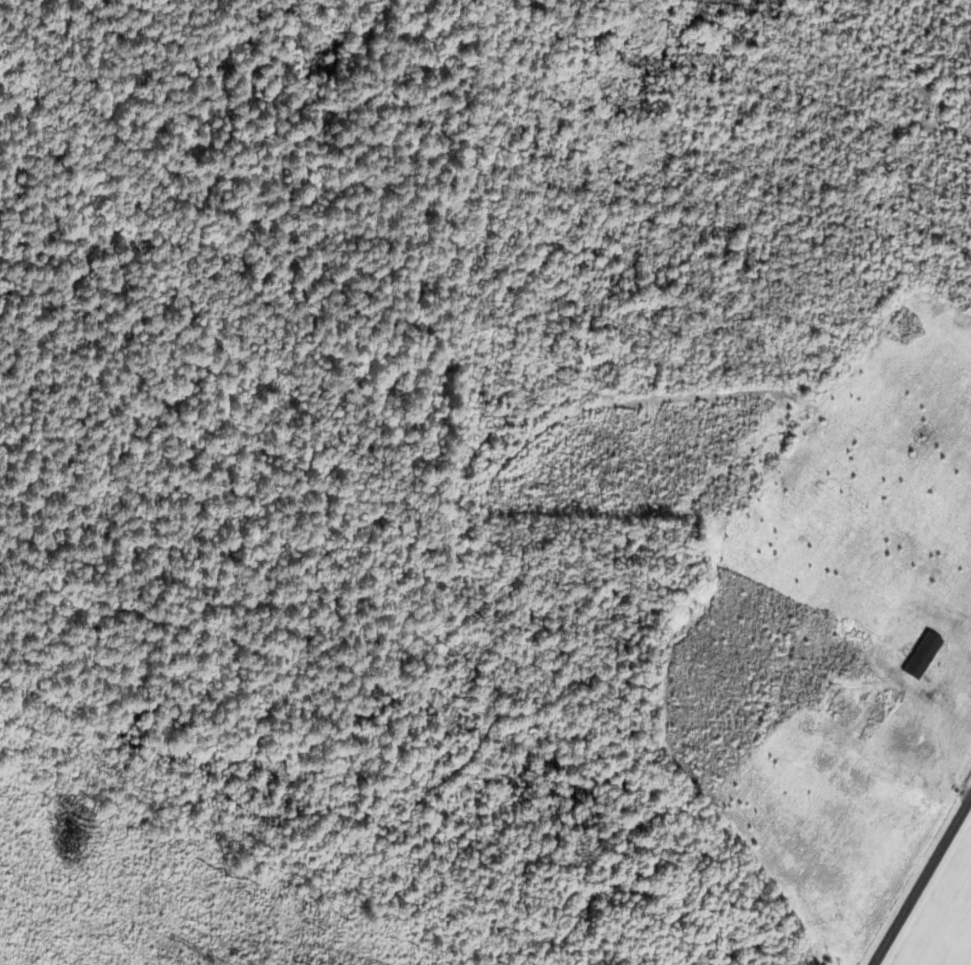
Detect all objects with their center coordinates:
road: (922, 881)

